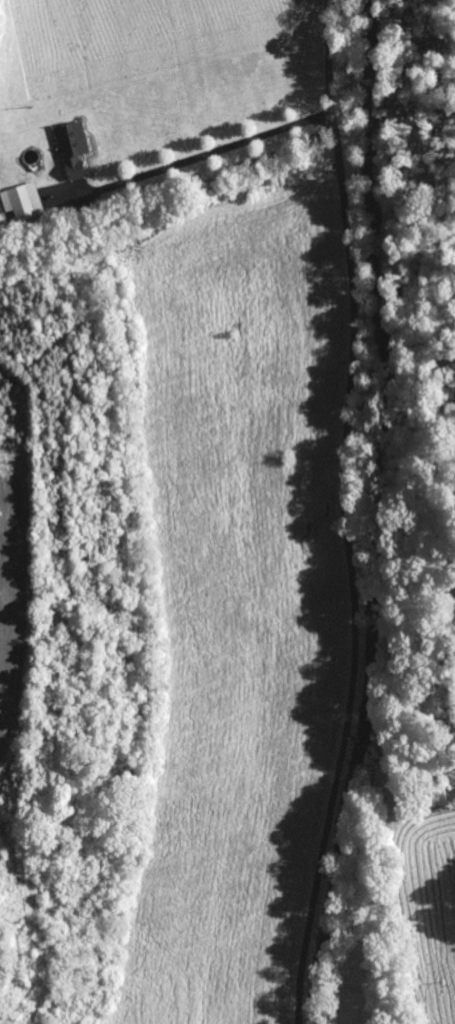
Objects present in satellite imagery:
building: (76, 149)
building: (24, 201)
road: (345, 513)

